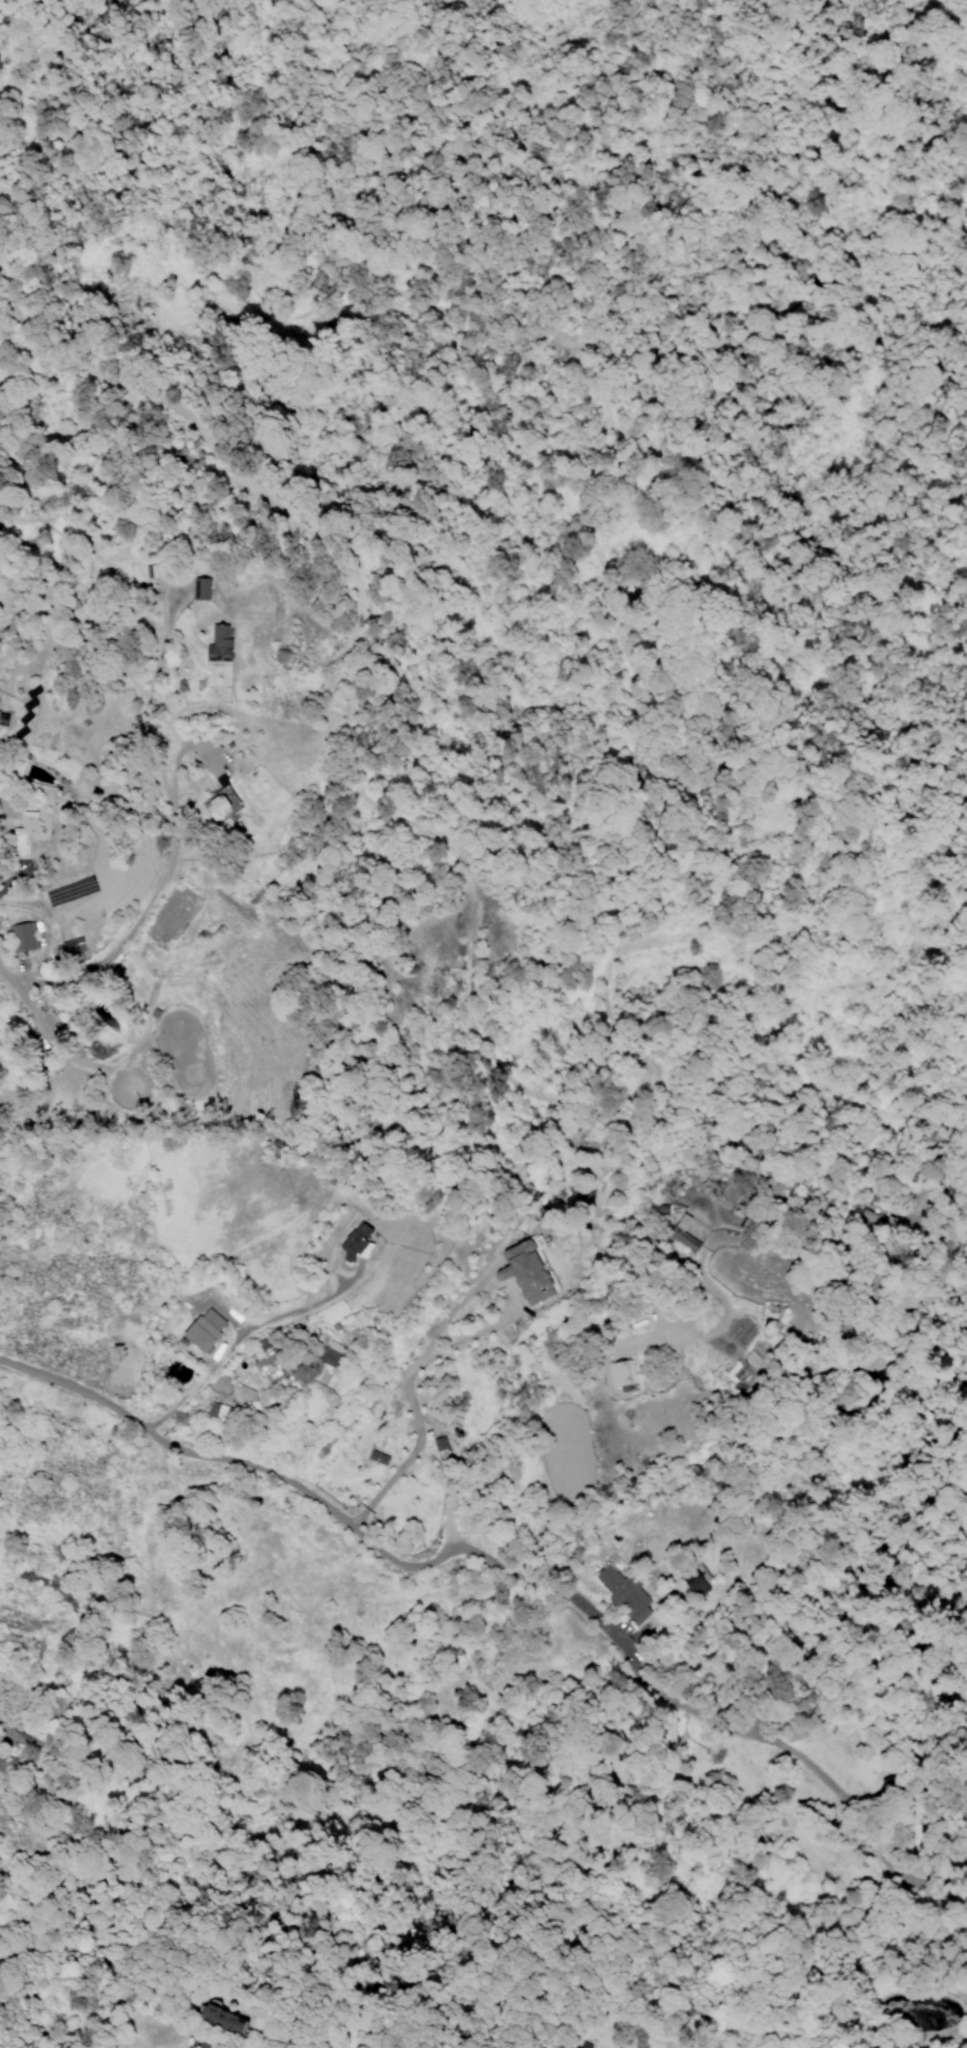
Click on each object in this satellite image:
road: (264, 311)
building: (200, 588)
road: (758, 602)
building: (218, 642)
building: (3, 718)
building: (219, 801)
building: (22, 834)
building: (22, 936)
building: (58, 952)
road: (481, 1055)
power tower: (291, 1104)
building: (682, 1234)
building: (356, 1242)
building: (527, 1270)
road: (449, 1309)
road: (246, 1327)
building: (204, 1328)
building: (331, 1354)
building: (750, 1356)
building: (621, 1373)
road: (405, 1384)
building: (217, 1411)
building: (438, 1442)
building: (376, 1457)
road: (318, 1497)
building: (694, 1583)
building: (623, 1592)
road: (828, 1786)
building: (223, 2021)
building: (204, 2040)
building: (577, 2047)

